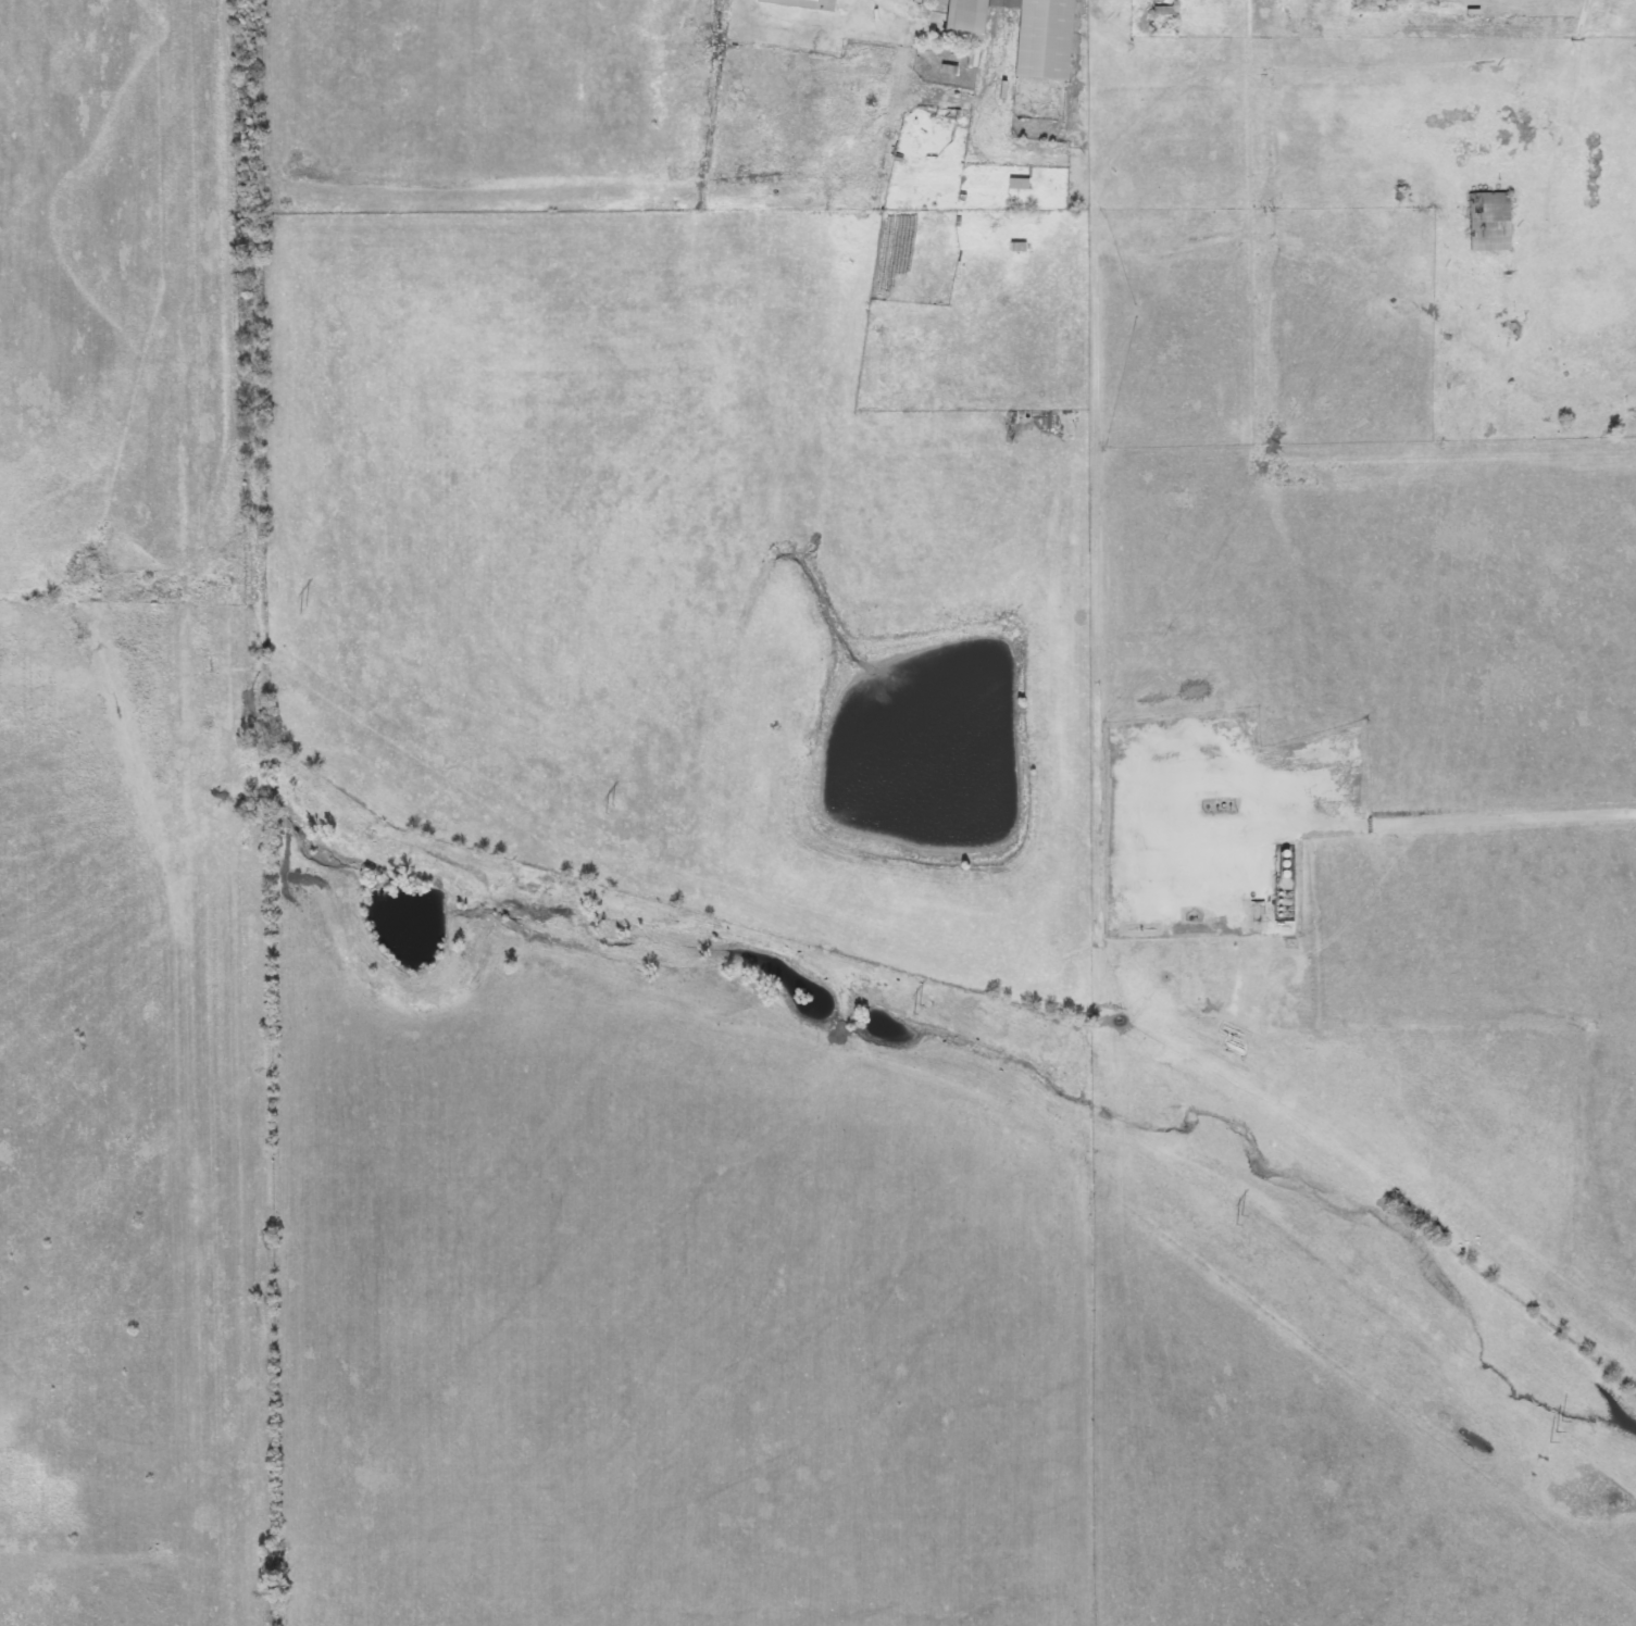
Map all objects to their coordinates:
building: (795, 2)
building: (1372, 2)
road: (1576, 8)
building: (970, 14)
building: (1048, 38)
building: (1020, 184)
building: (1493, 222)
building: (1501, 313)
road: (1469, 813)

